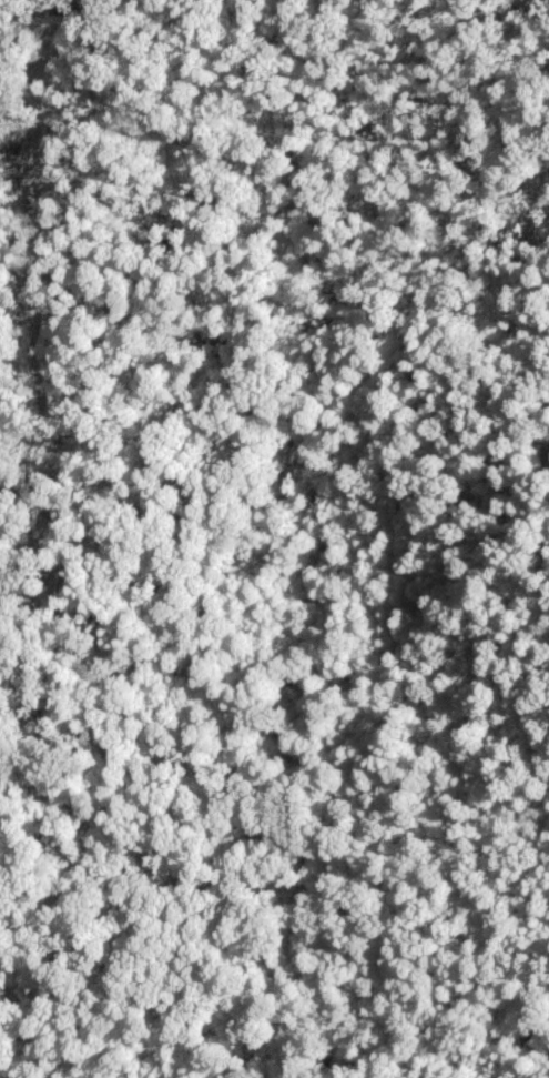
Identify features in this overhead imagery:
road: (41, 10)

